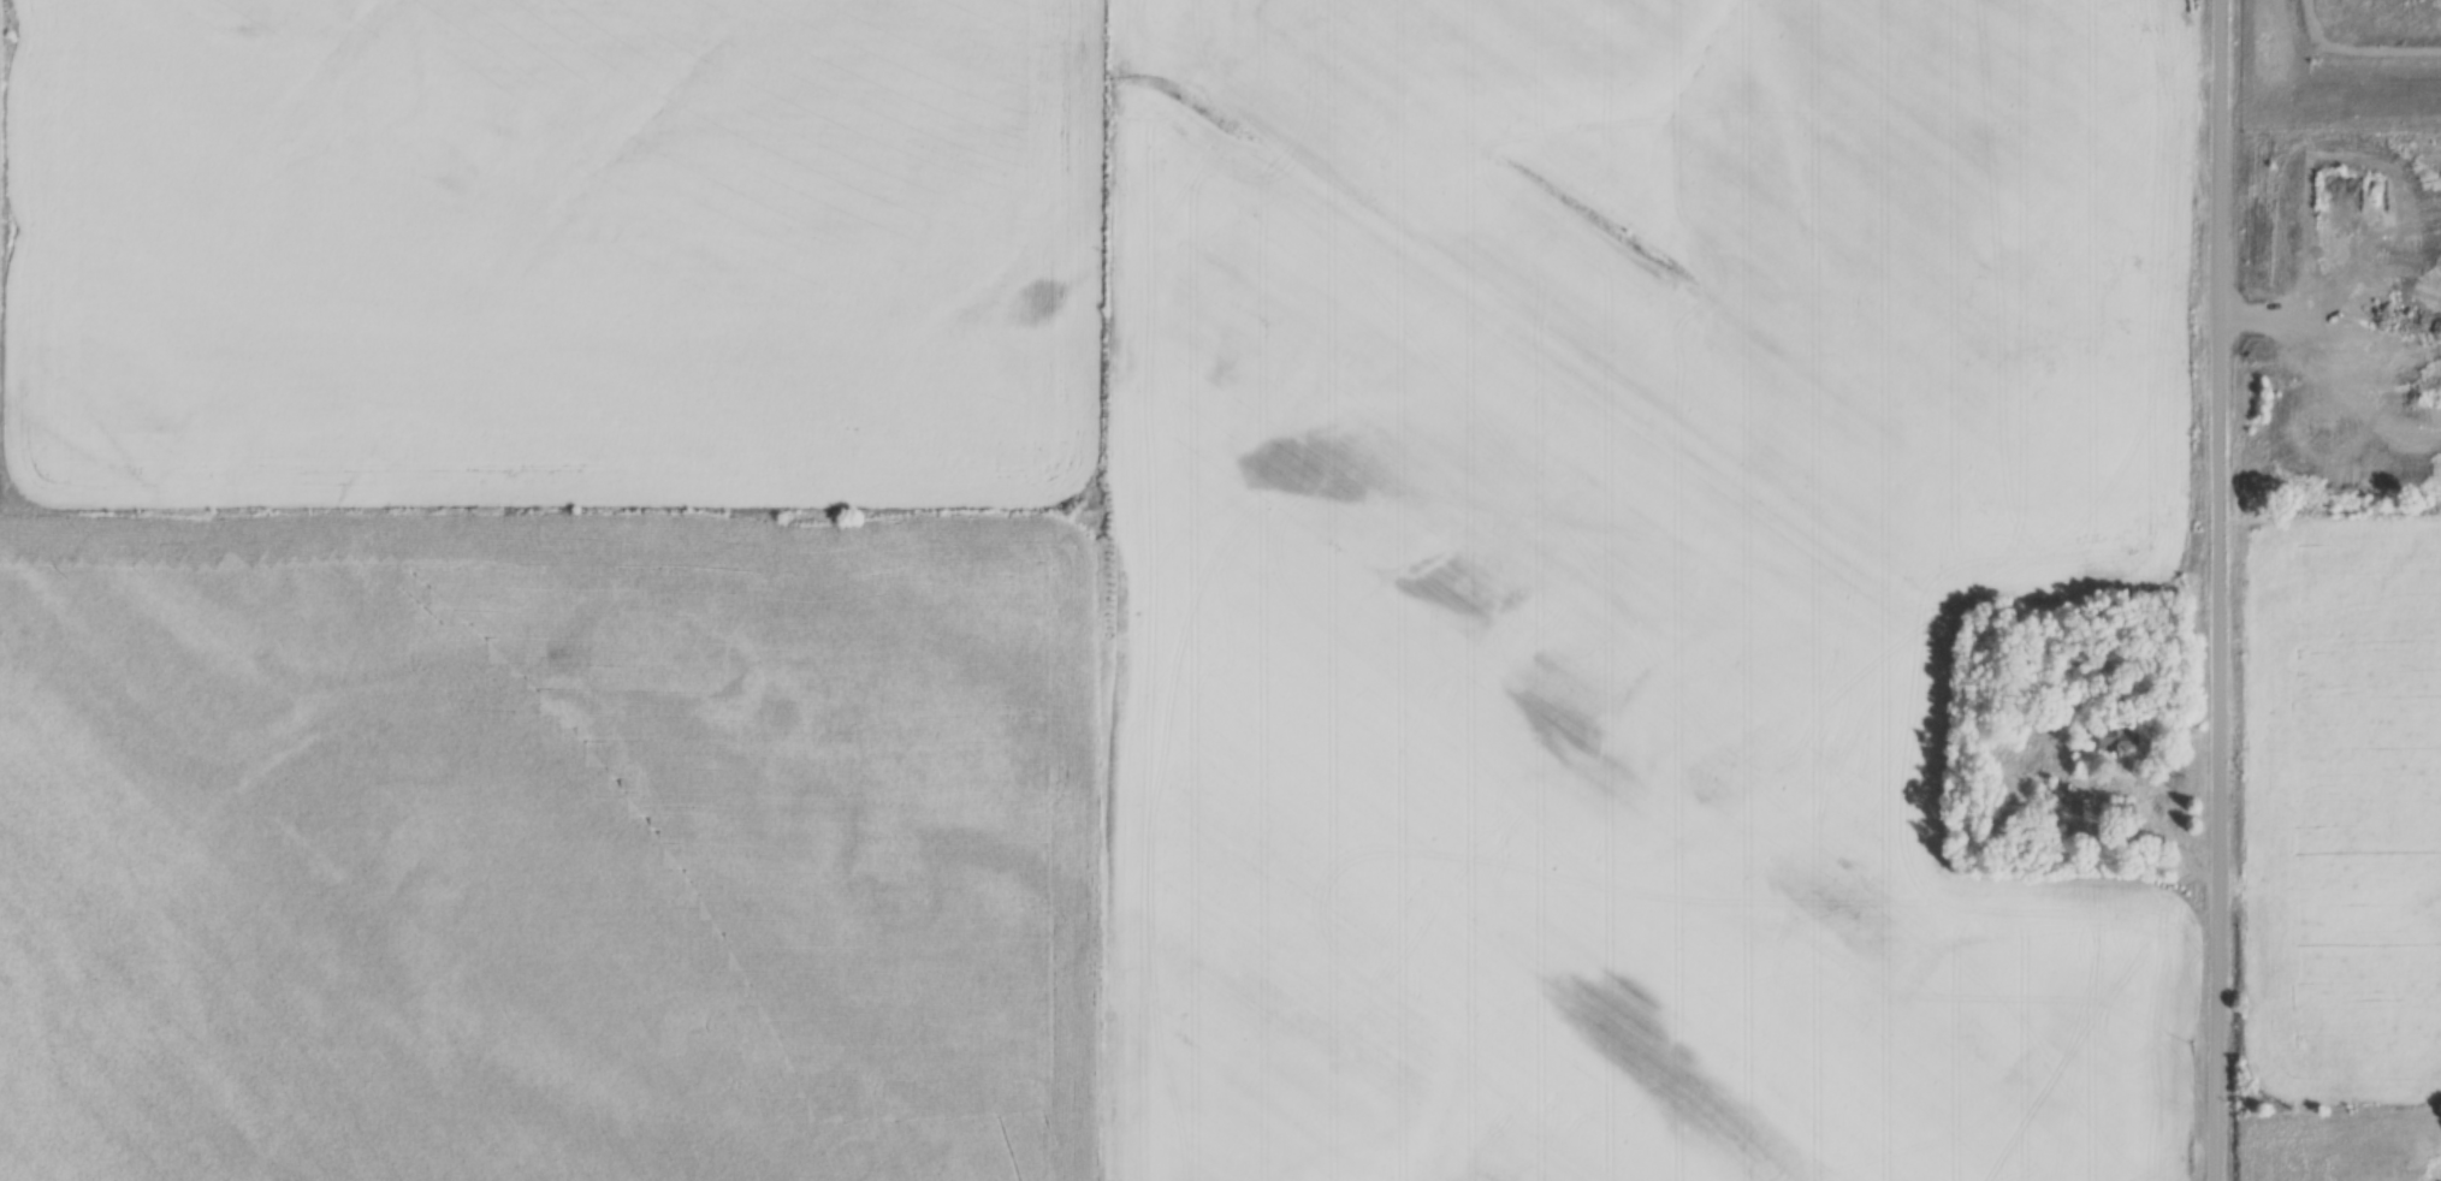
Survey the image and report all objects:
road: (2214, 590)
building: (2117, 738)
crop: (2345, 850)

